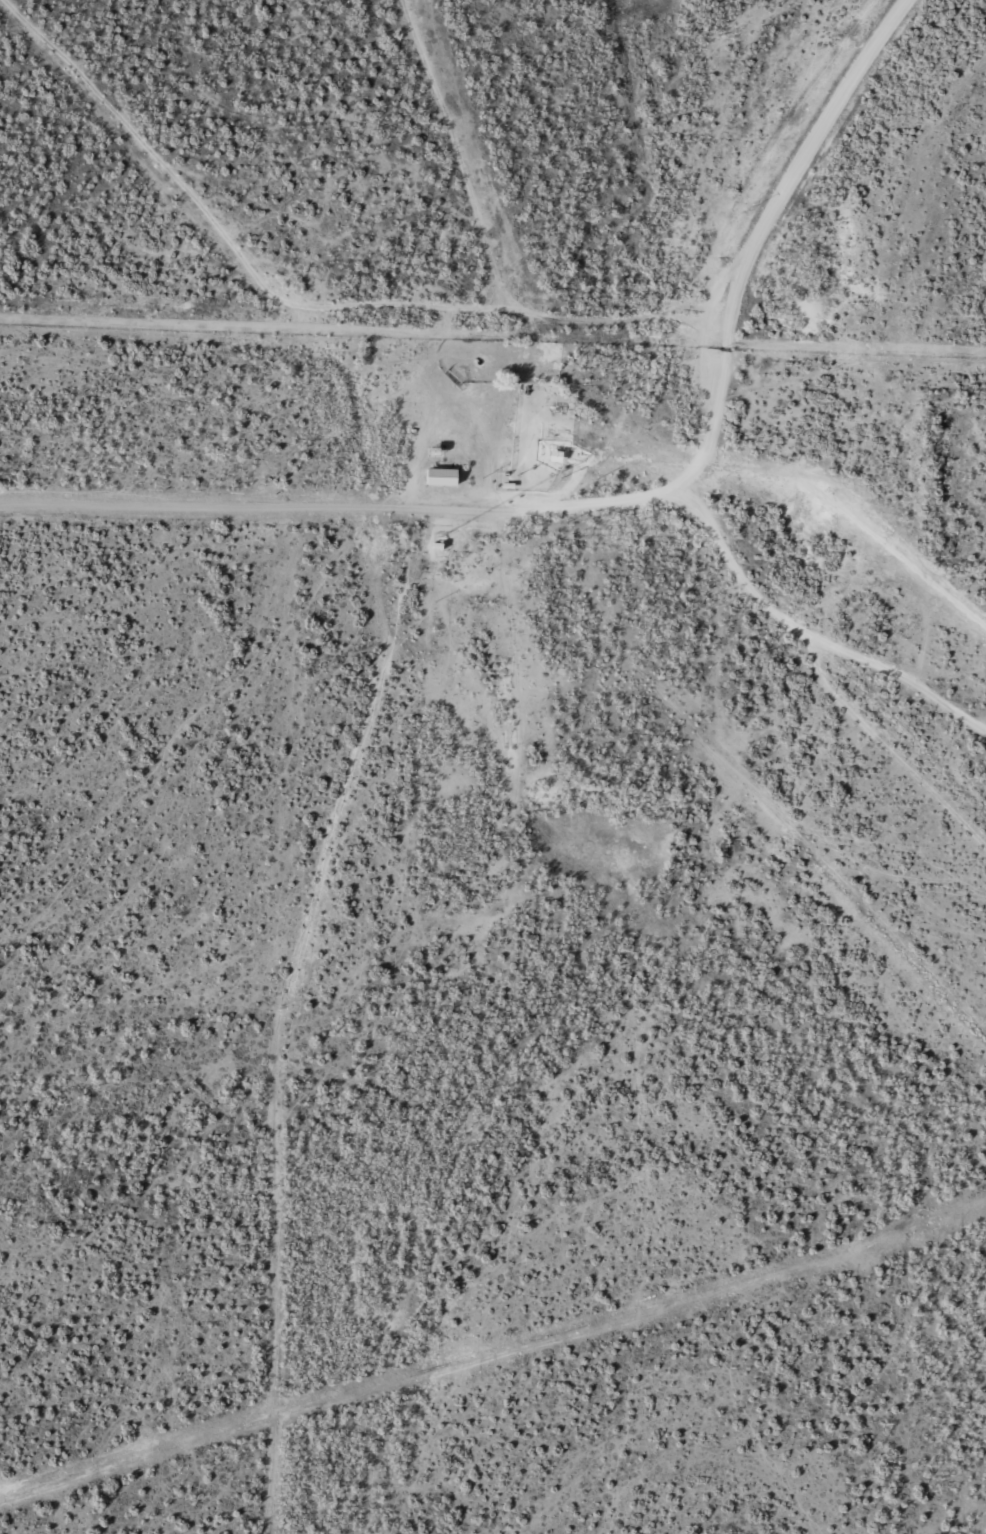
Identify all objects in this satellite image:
building: (544, 431)
building: (444, 476)
road: (606, 498)
road: (303, 1013)

